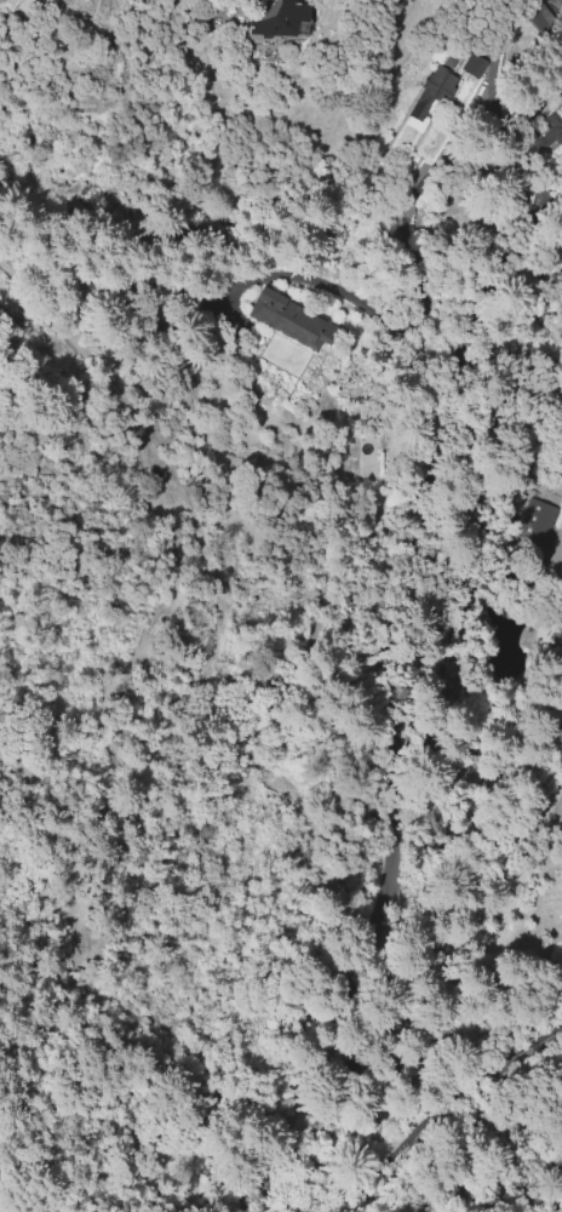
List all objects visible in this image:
building: (2, 1)
road: (560, 2)
building: (282, 22)
building: (475, 65)
building: (561, 87)
building: (561, 90)
building: (434, 91)
building: (555, 125)
road: (561, 185)
building: (291, 320)
building: (535, 519)
building: (560, 633)
road: (385, 840)
road: (280, 1197)

